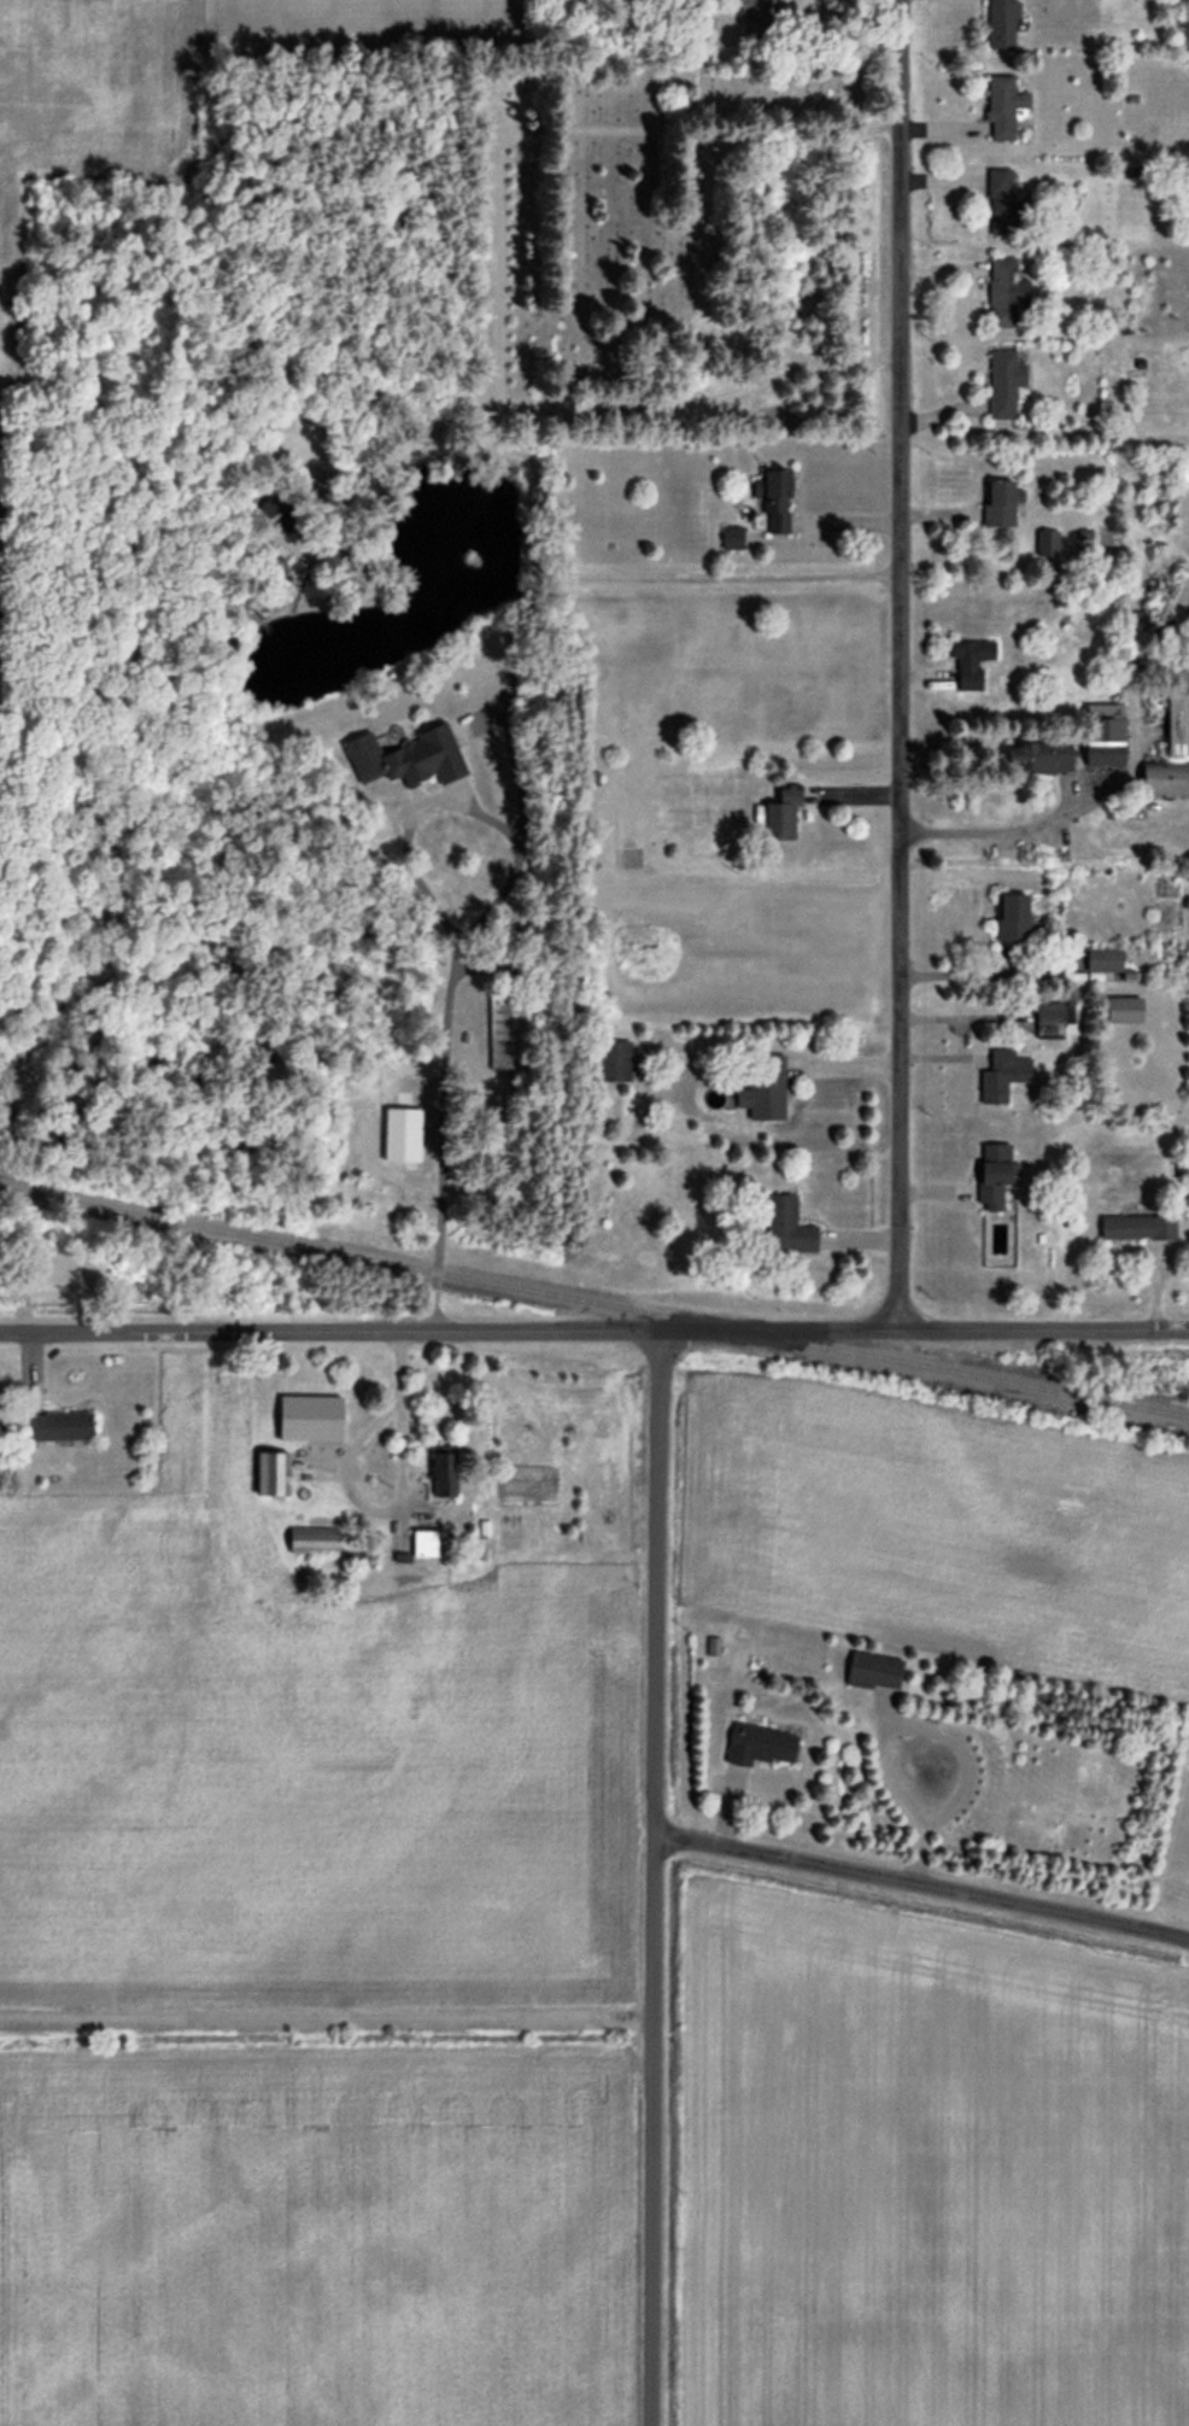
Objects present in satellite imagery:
building: (758, 11)
building: (1000, 23)
building: (1001, 106)
building: (1001, 200)
park: (637, 245)
building: (1006, 293)
building: (1003, 381)
building: (772, 497)
building: (996, 503)
building: (728, 537)
building: (968, 661)
road: (902, 665)
building: (1099, 733)
building: (1168, 753)
building: (1032, 755)
building: (403, 756)
building: (775, 814)
road: (996, 831)
building: (1009, 917)
building: (1101, 959)
road: (983, 974)
road: (446, 1009)
building: (1119, 1010)
building: (1053, 1019)
road: (956, 1040)
building: (610, 1060)
building: (996, 1074)
building: (761, 1089)
building: (989, 1174)
building: (784, 1226)
building: (1134, 1227)
railway: (594, 1300)
road: (593, 1329)
building: (306, 1417)
building: (47, 1426)
building: (268, 1473)
building: (438, 1474)
road: (396, 1514)
building: (312, 1539)
building: (872, 1671)
building: (756, 1744)
road: (656, 1877)
road: (922, 1888)
road: (328, 2015)

